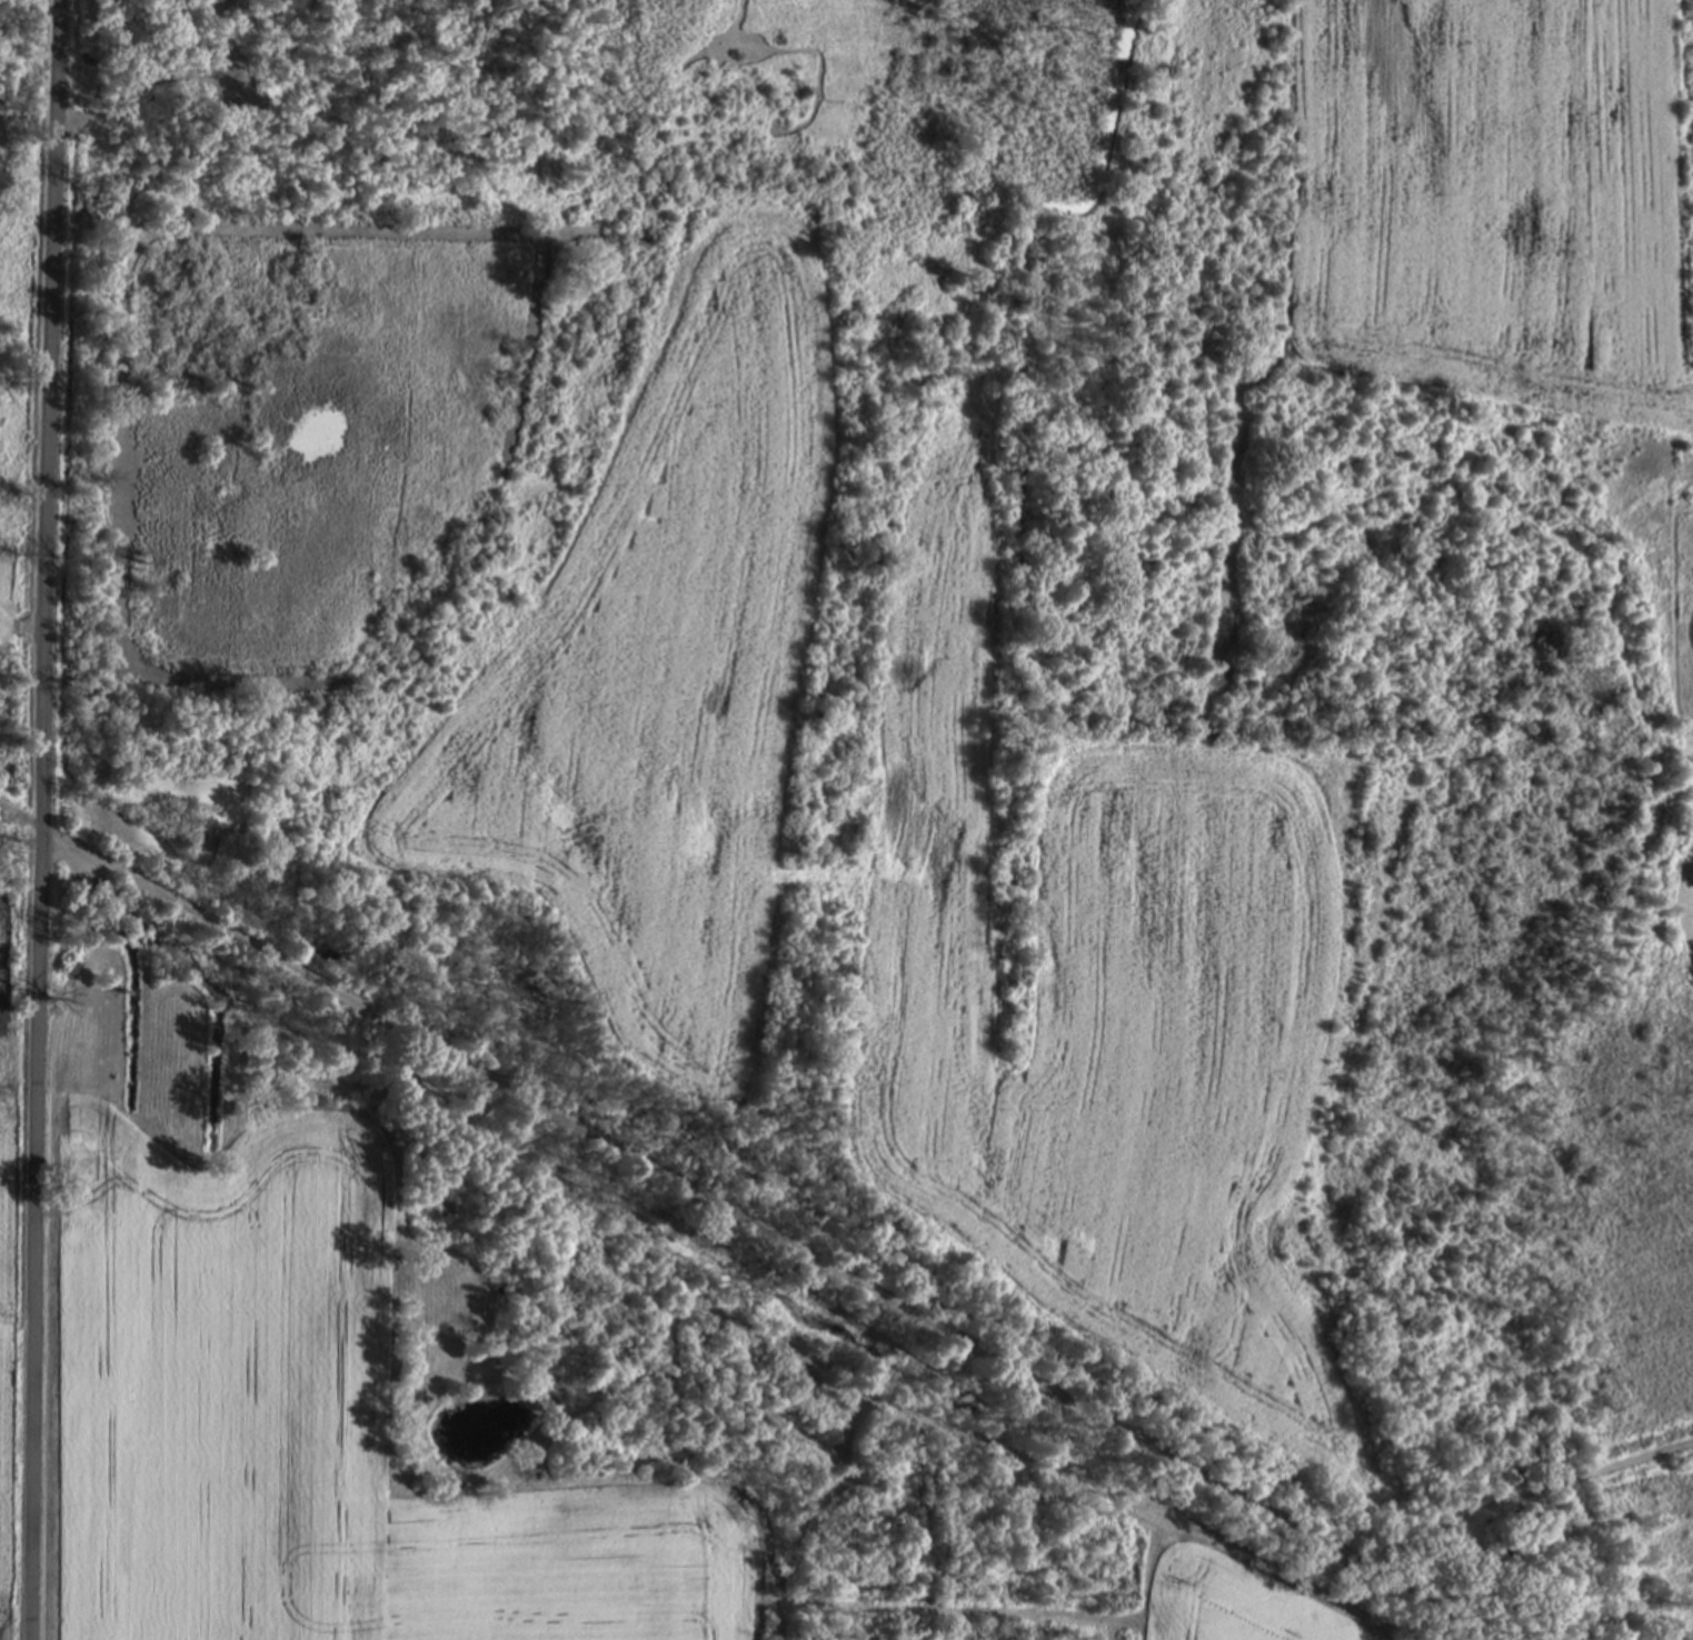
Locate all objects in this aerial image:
road: (41, 819)
road: (747, 1226)

